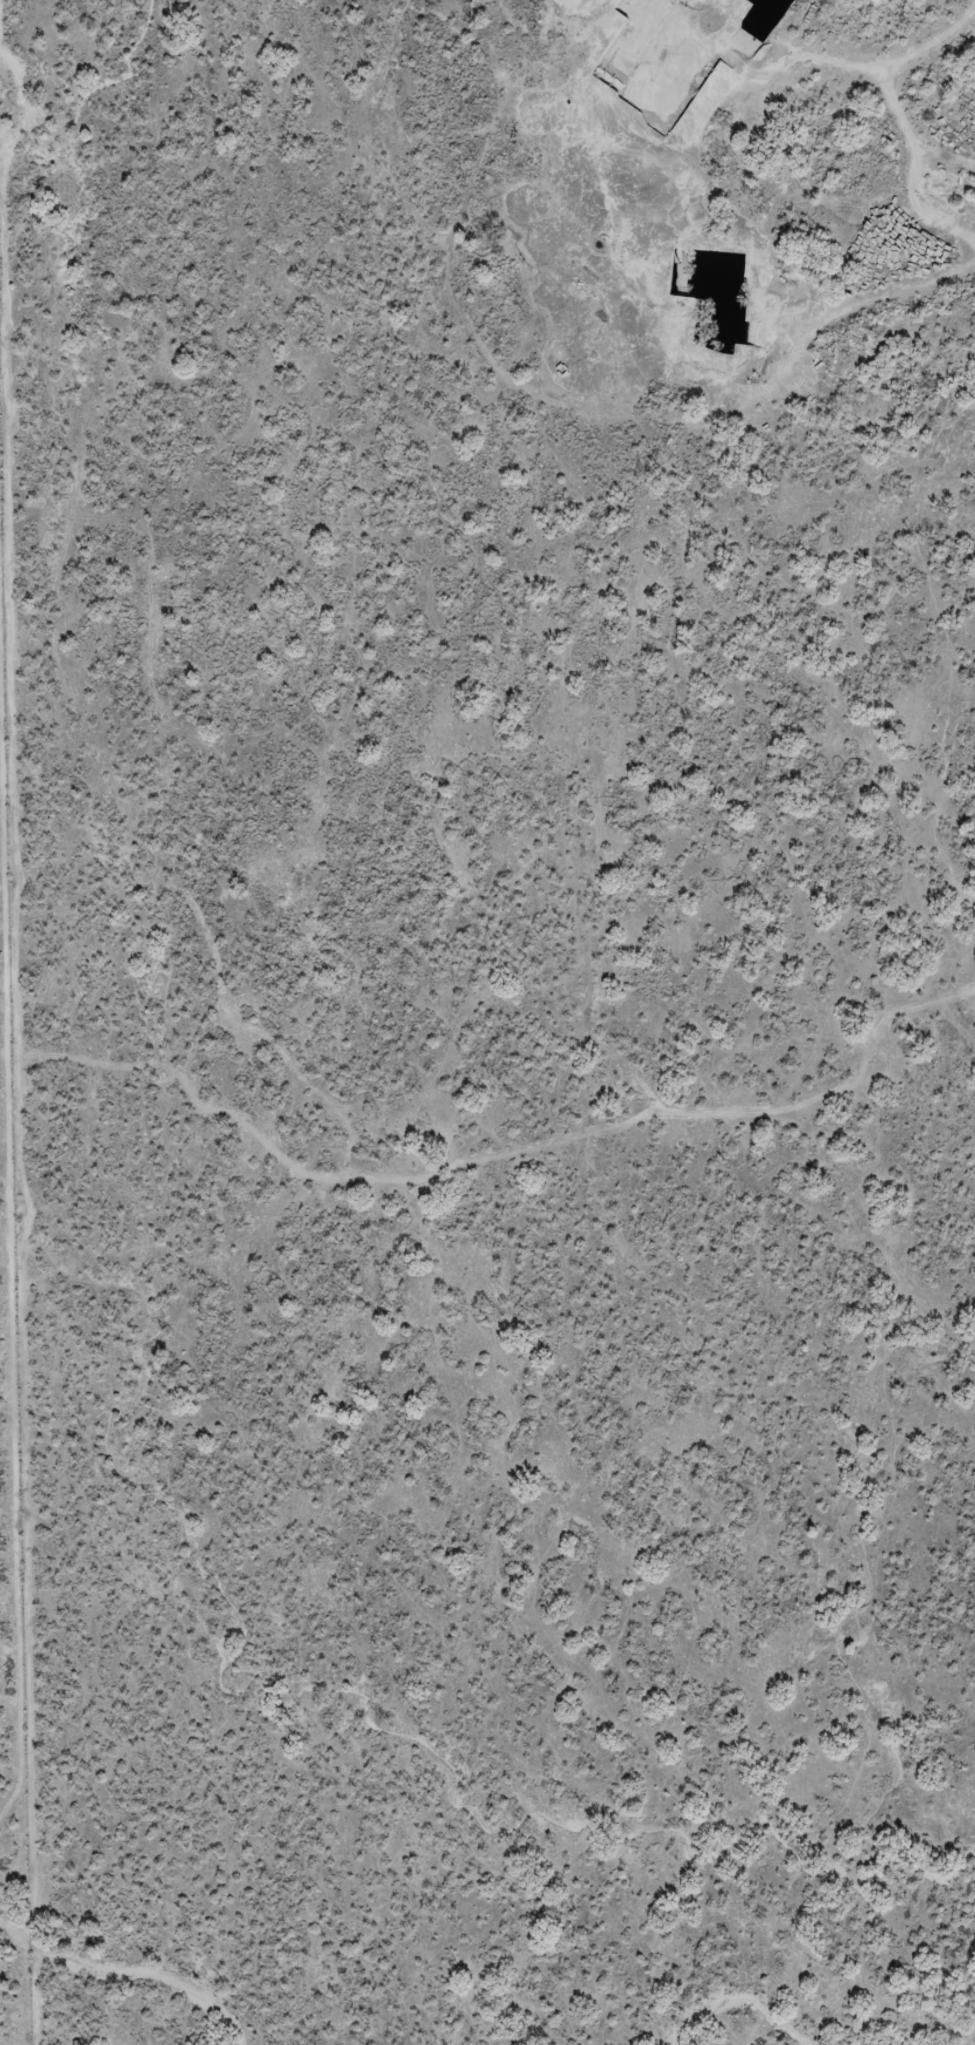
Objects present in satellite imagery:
quarry: (766, 206)

